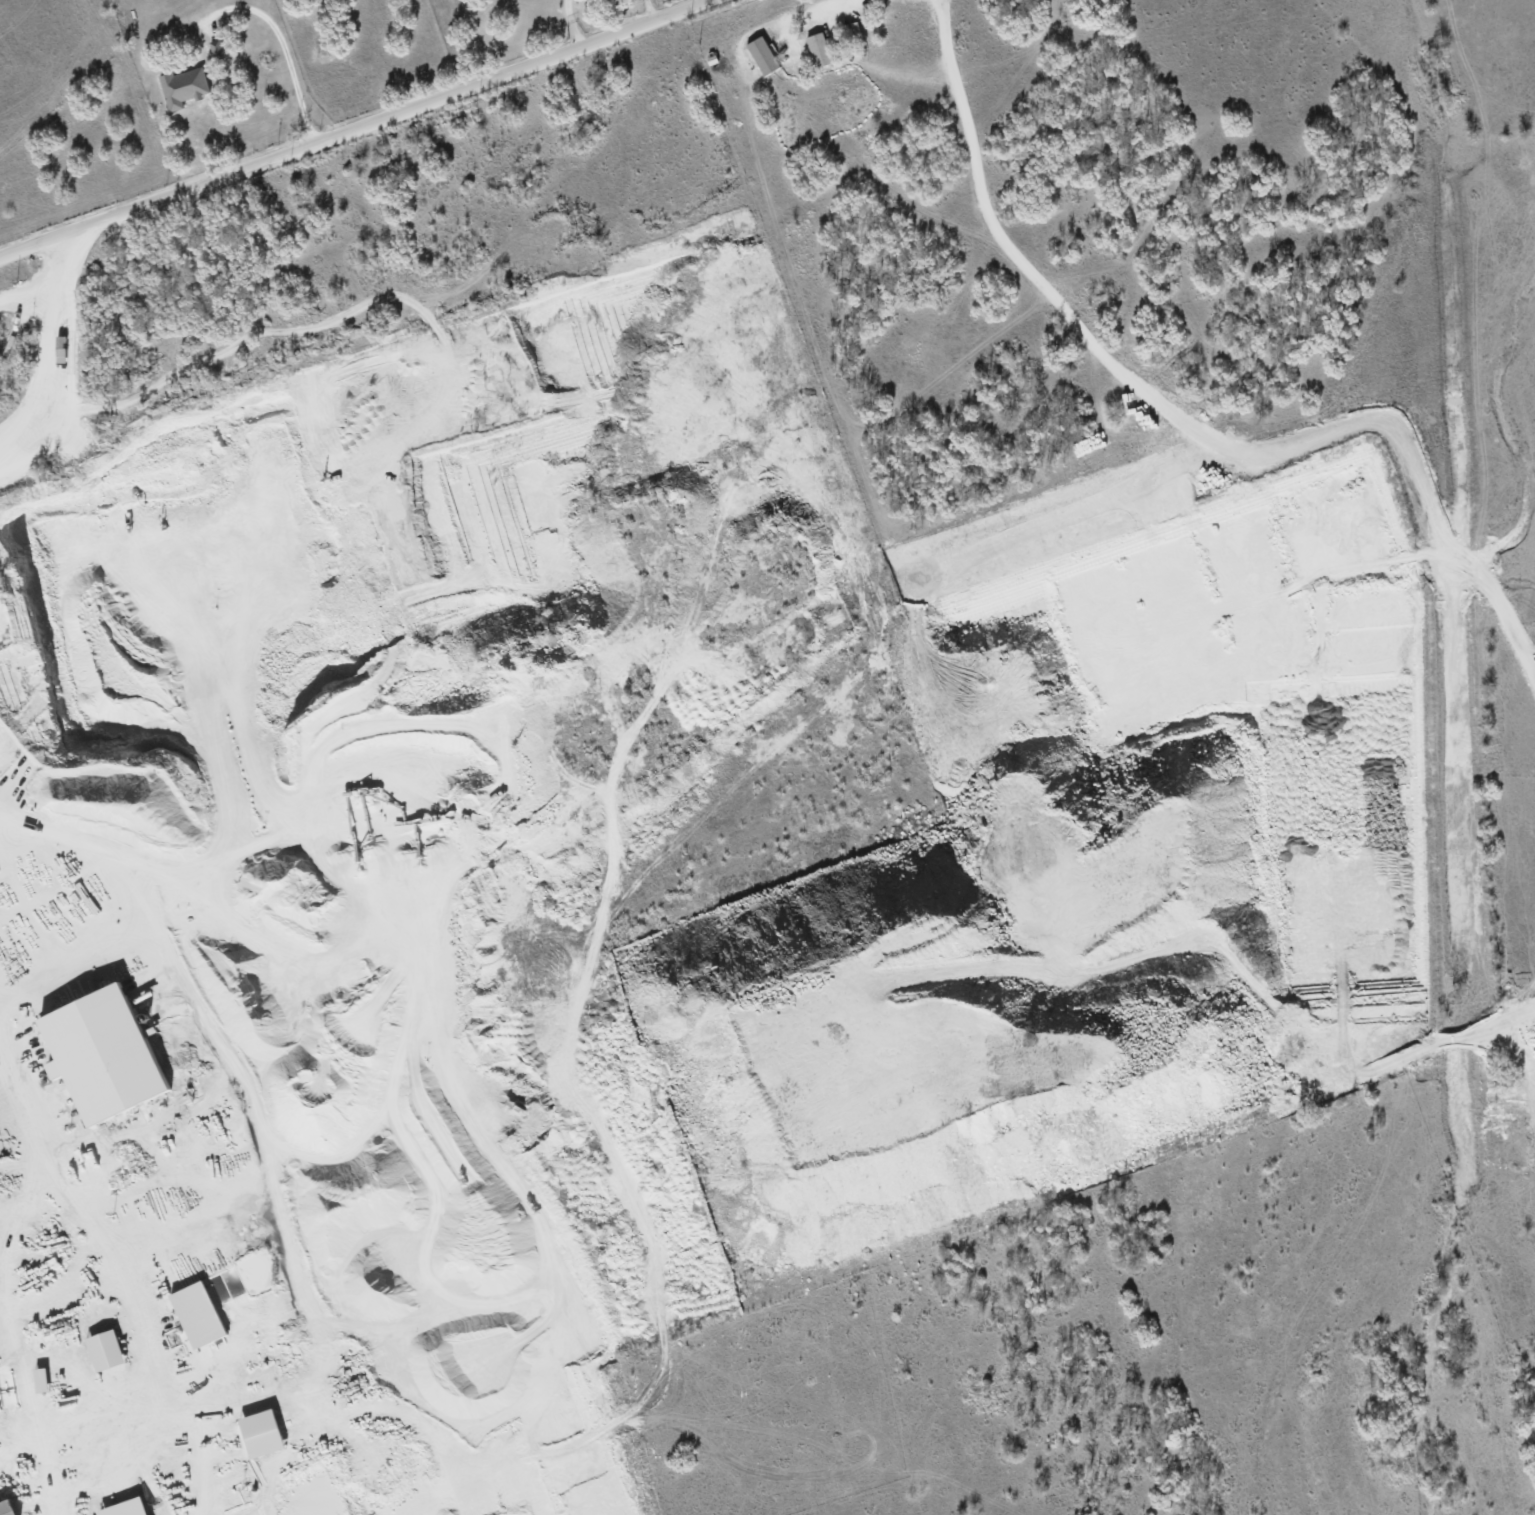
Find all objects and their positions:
road: (649, 10)
road: (812, 12)
building: (818, 49)
road: (284, 52)
building: (762, 55)
building: (182, 87)
road: (357, 129)
road: (48, 343)
building: (59, 348)
quarry: (568, 906)
building: (101, 1054)
building: (196, 1314)
building: (103, 1350)
building: (40, 1380)
building: (260, 1433)
building: (6, 1508)
building: (124, 1508)

